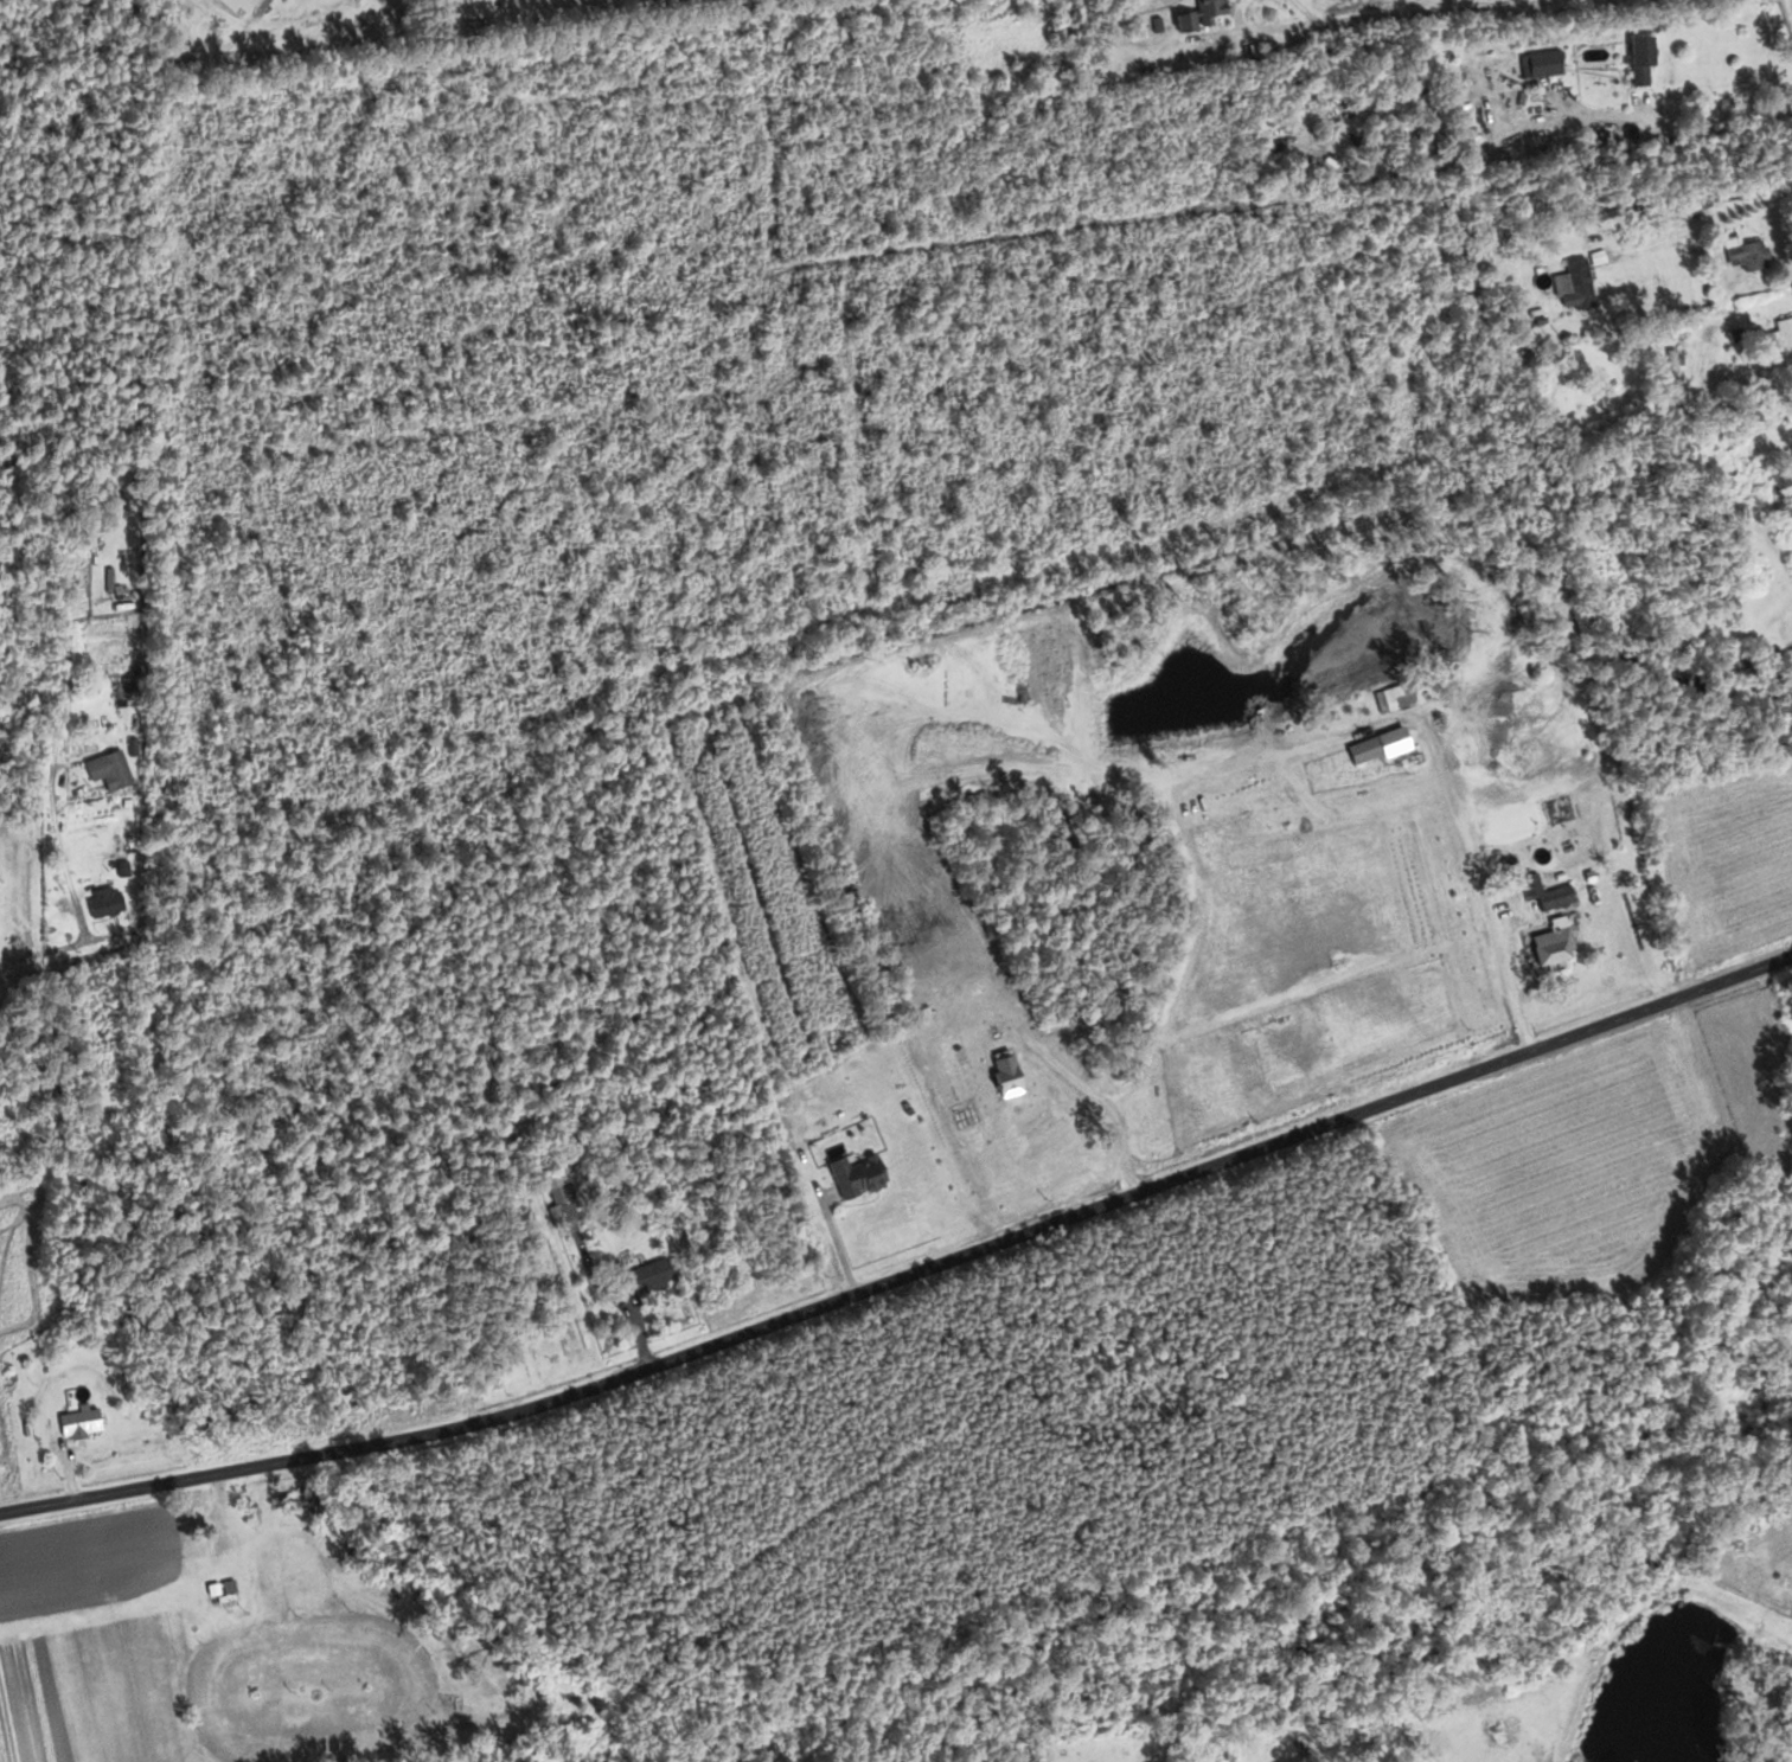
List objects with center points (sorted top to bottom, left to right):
building: (247, 6)
road: (260, 7)
road: (1311, 8)
road: (1413, 8)
building: (1207, 14)
road: (1267, 26)
road: (1228, 33)
building: (1631, 58)
building: (1536, 62)
road: (1641, 102)
road: (1668, 114)
road: (1698, 225)
building: (1740, 252)
building: (1572, 283)
building: (1783, 332)
building: (1665, 364)
road: (1767, 378)
building: (1777, 473)
building: (1788, 530)
road: (1326, 588)
building: (129, 688)
building: (1388, 694)
building: (1394, 741)
building: (1357, 748)
building: (115, 769)
road: (21, 845)
road: (68, 879)
road: (1487, 882)
building: (110, 901)
building: (0, 937)
building: (1545, 952)
road: (1099, 1098)
building: (868, 1173)
building: (561, 1186)
road: (838, 1238)
road: (591, 1261)
building: (660, 1275)
road: (907, 1277)
road: (639, 1327)
building: (85, 1422)
road: (75, 1481)
building: (312, 1498)
building: (226, 1587)

